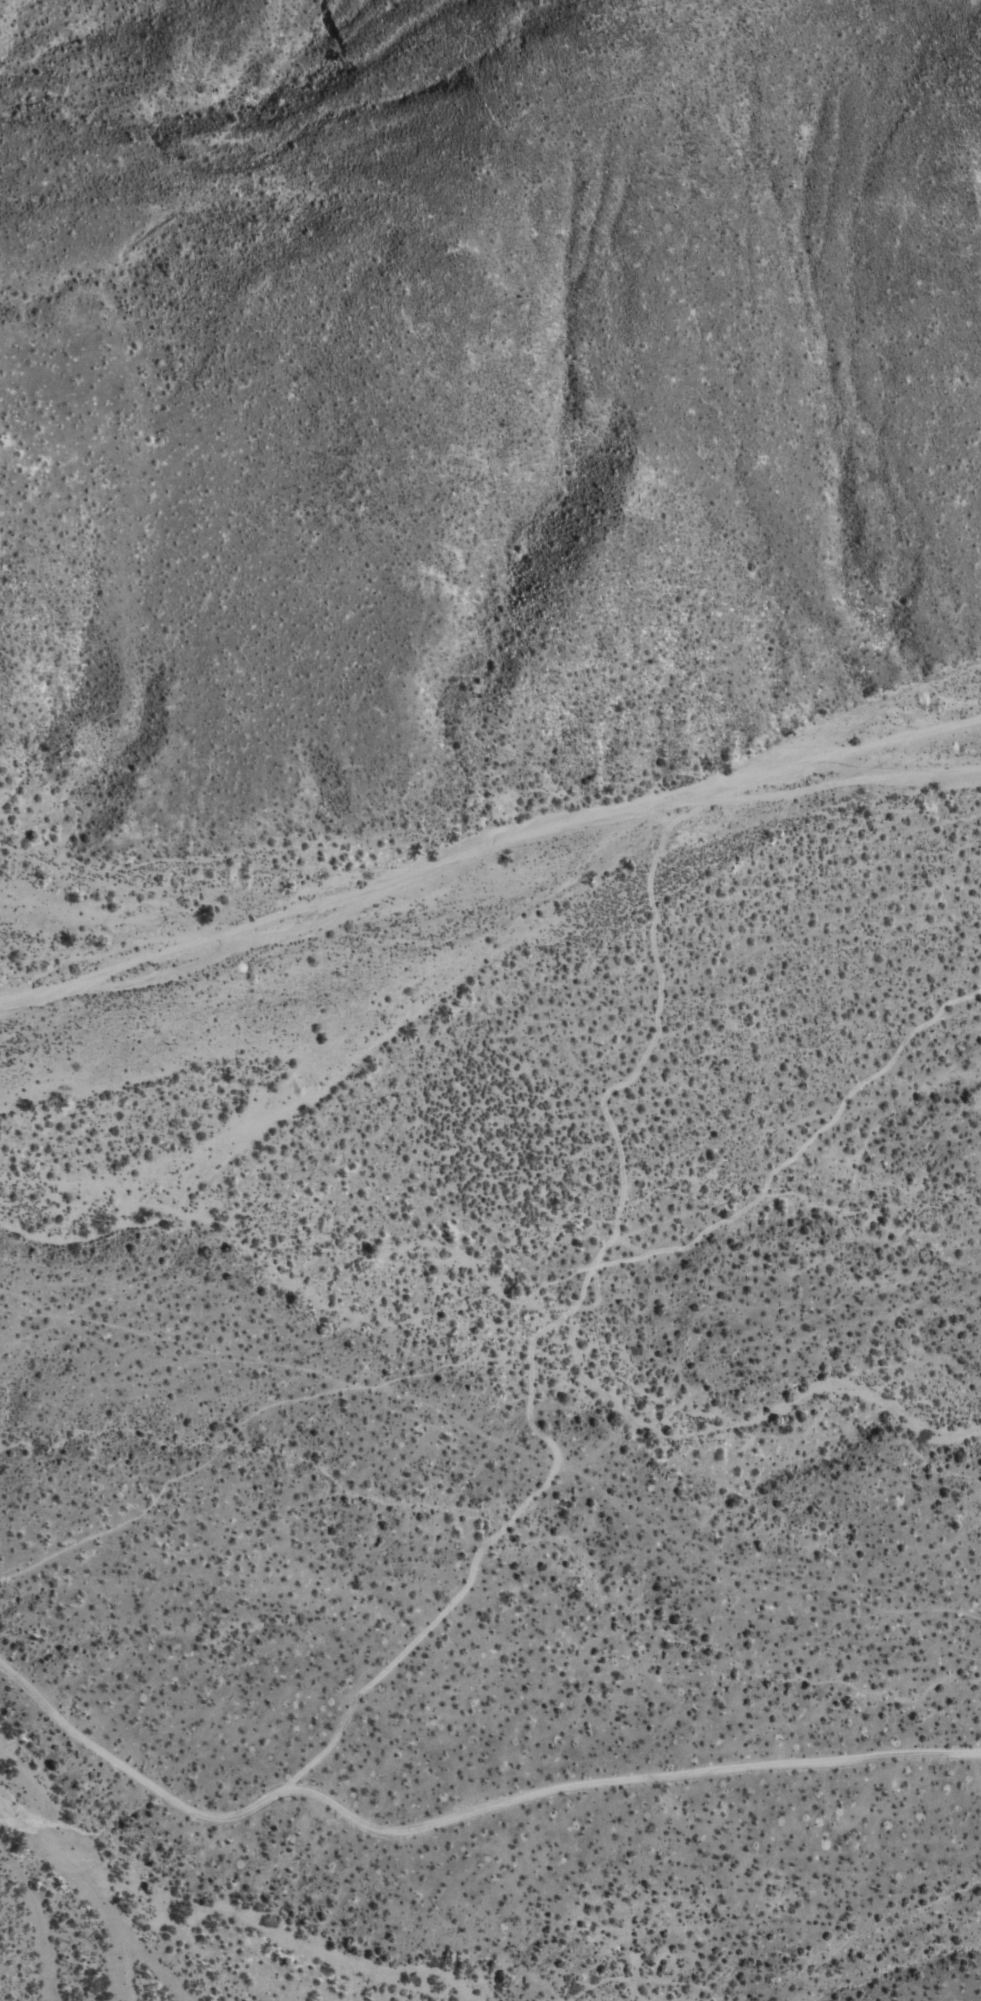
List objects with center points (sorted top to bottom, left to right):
road: (457, 1816)

